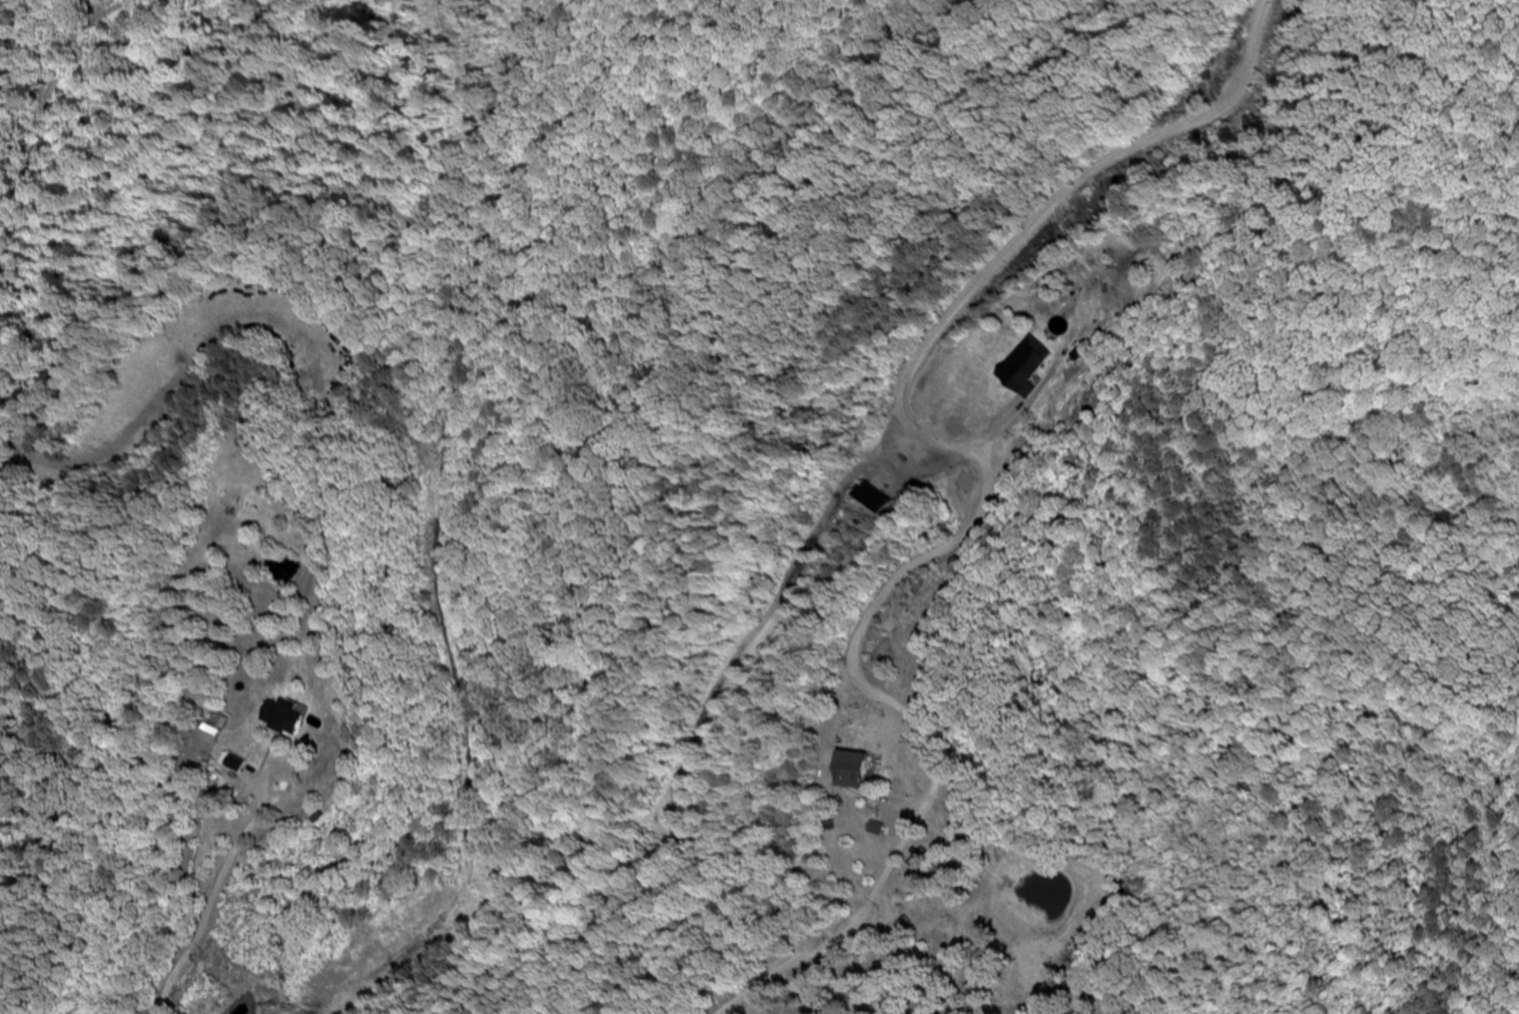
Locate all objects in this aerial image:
road: (1379, 491)
building: (863, 499)
building: (279, 716)
building: (231, 764)
building: (849, 770)
building: (873, 829)
road: (217, 897)

